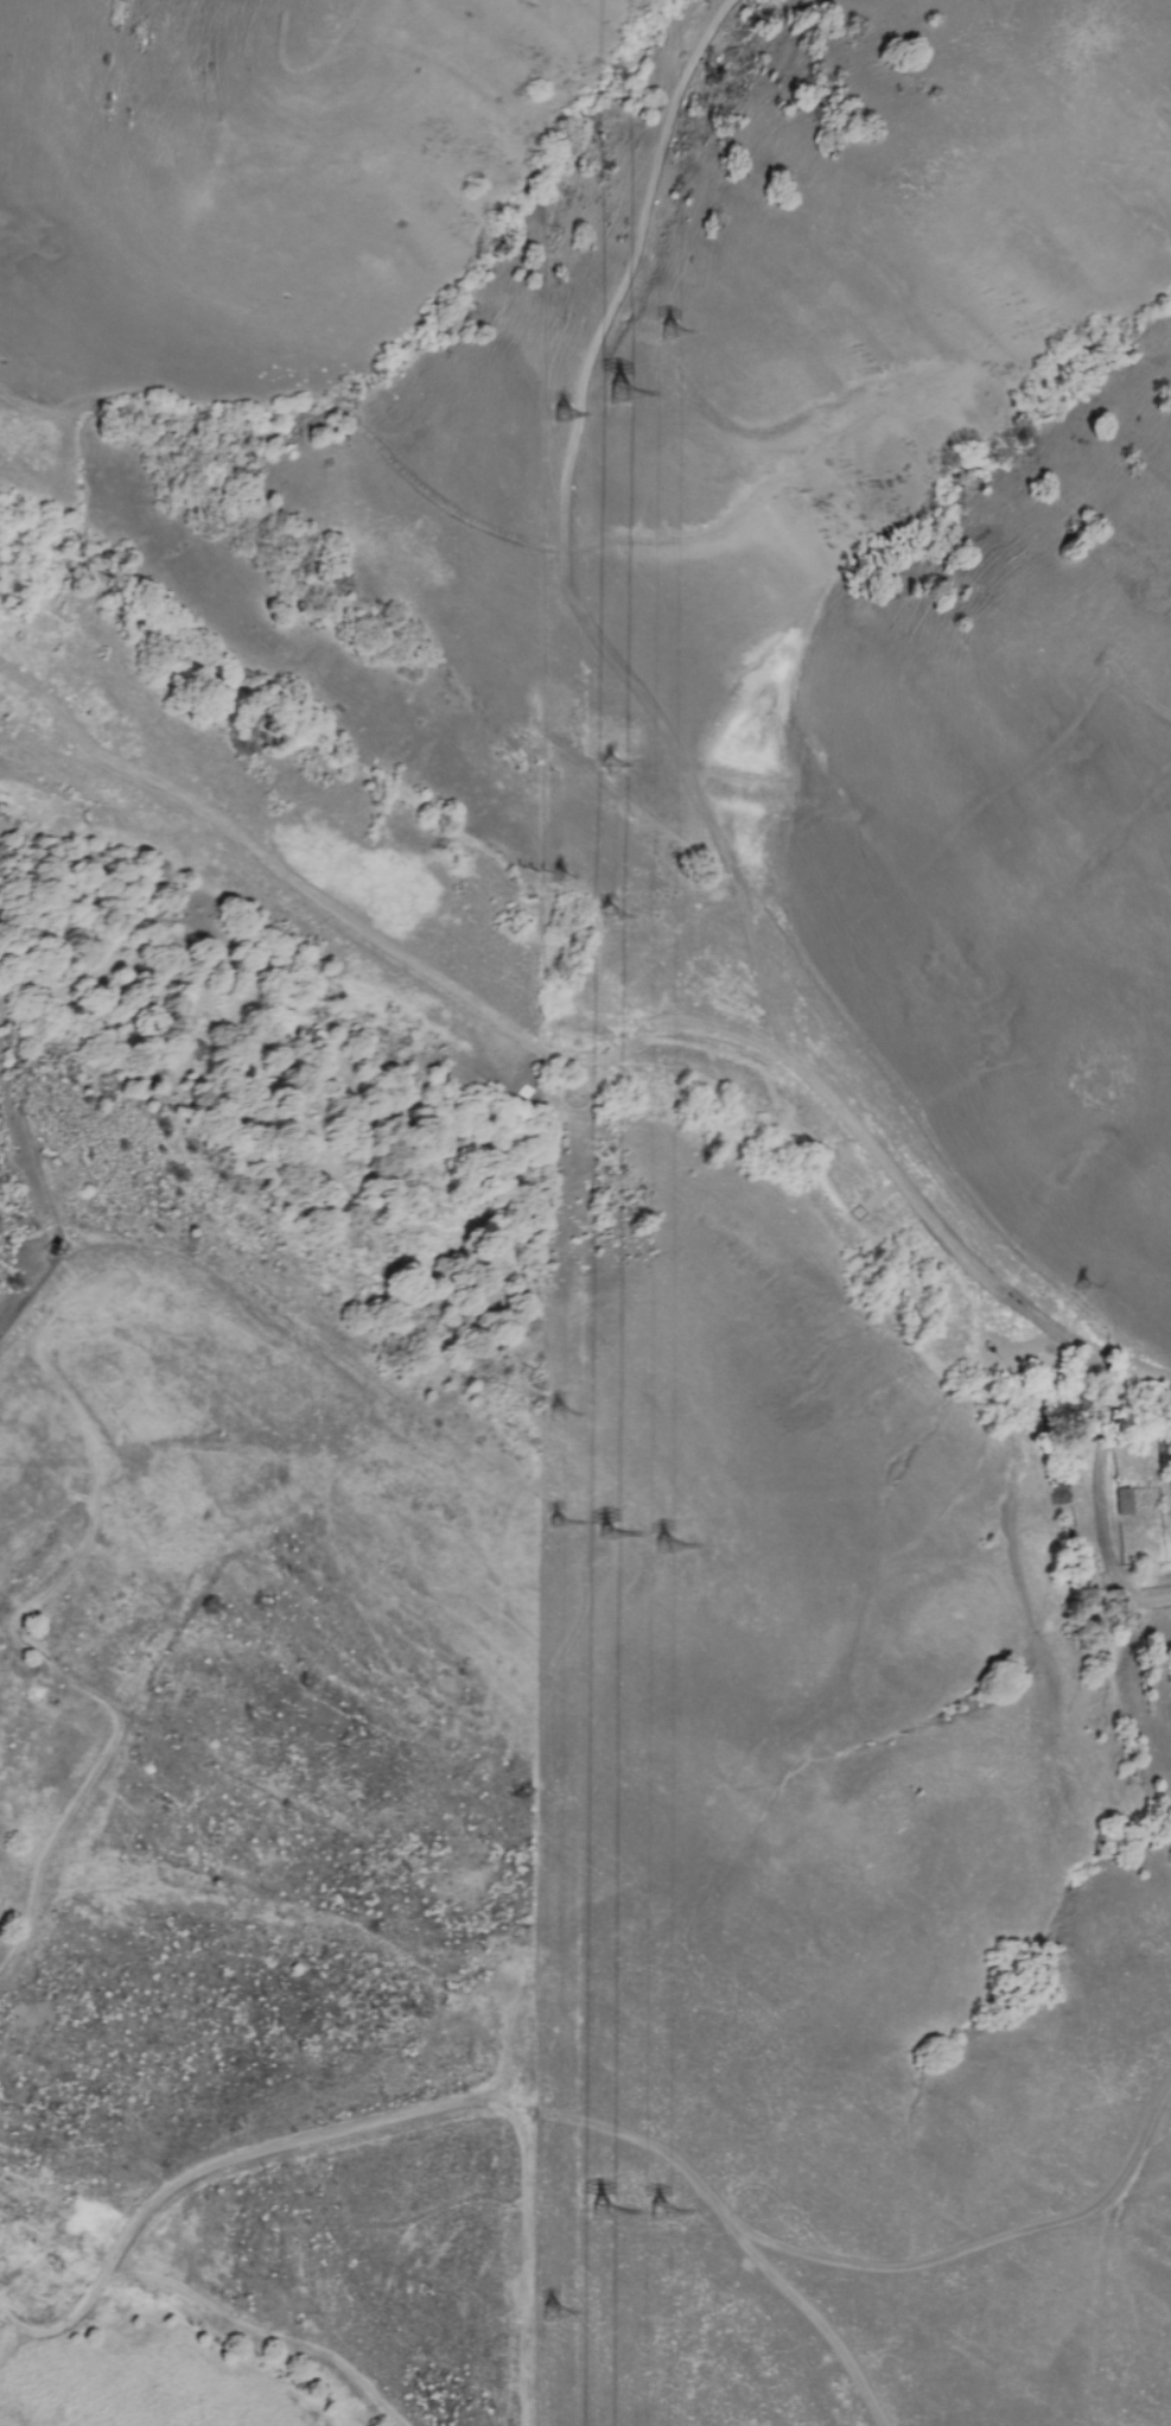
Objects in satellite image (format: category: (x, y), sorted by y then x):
road: (643, 198)
power tower: (666, 332)
power tower: (624, 396)
power tower: (560, 415)
power tower: (609, 766)
power tower: (533, 868)
power tower: (562, 878)
power tower: (604, 916)
road: (606, 1059)
road: (39, 1199)
power tower: (1084, 1287)
power tower: (555, 1415)
road: (1101, 1437)
road: (107, 1446)
building: (1122, 1501)
power tower: (554, 1519)
power tower: (604, 1533)
power tower: (658, 1543)
road: (119, 1709)
road: (432, 2107)
power tower: (664, 2210)
power tower: (606, 2225)
power tower: (558, 2314)
road: (62, 2327)
road: (12, 2330)
road: (257, 2332)

